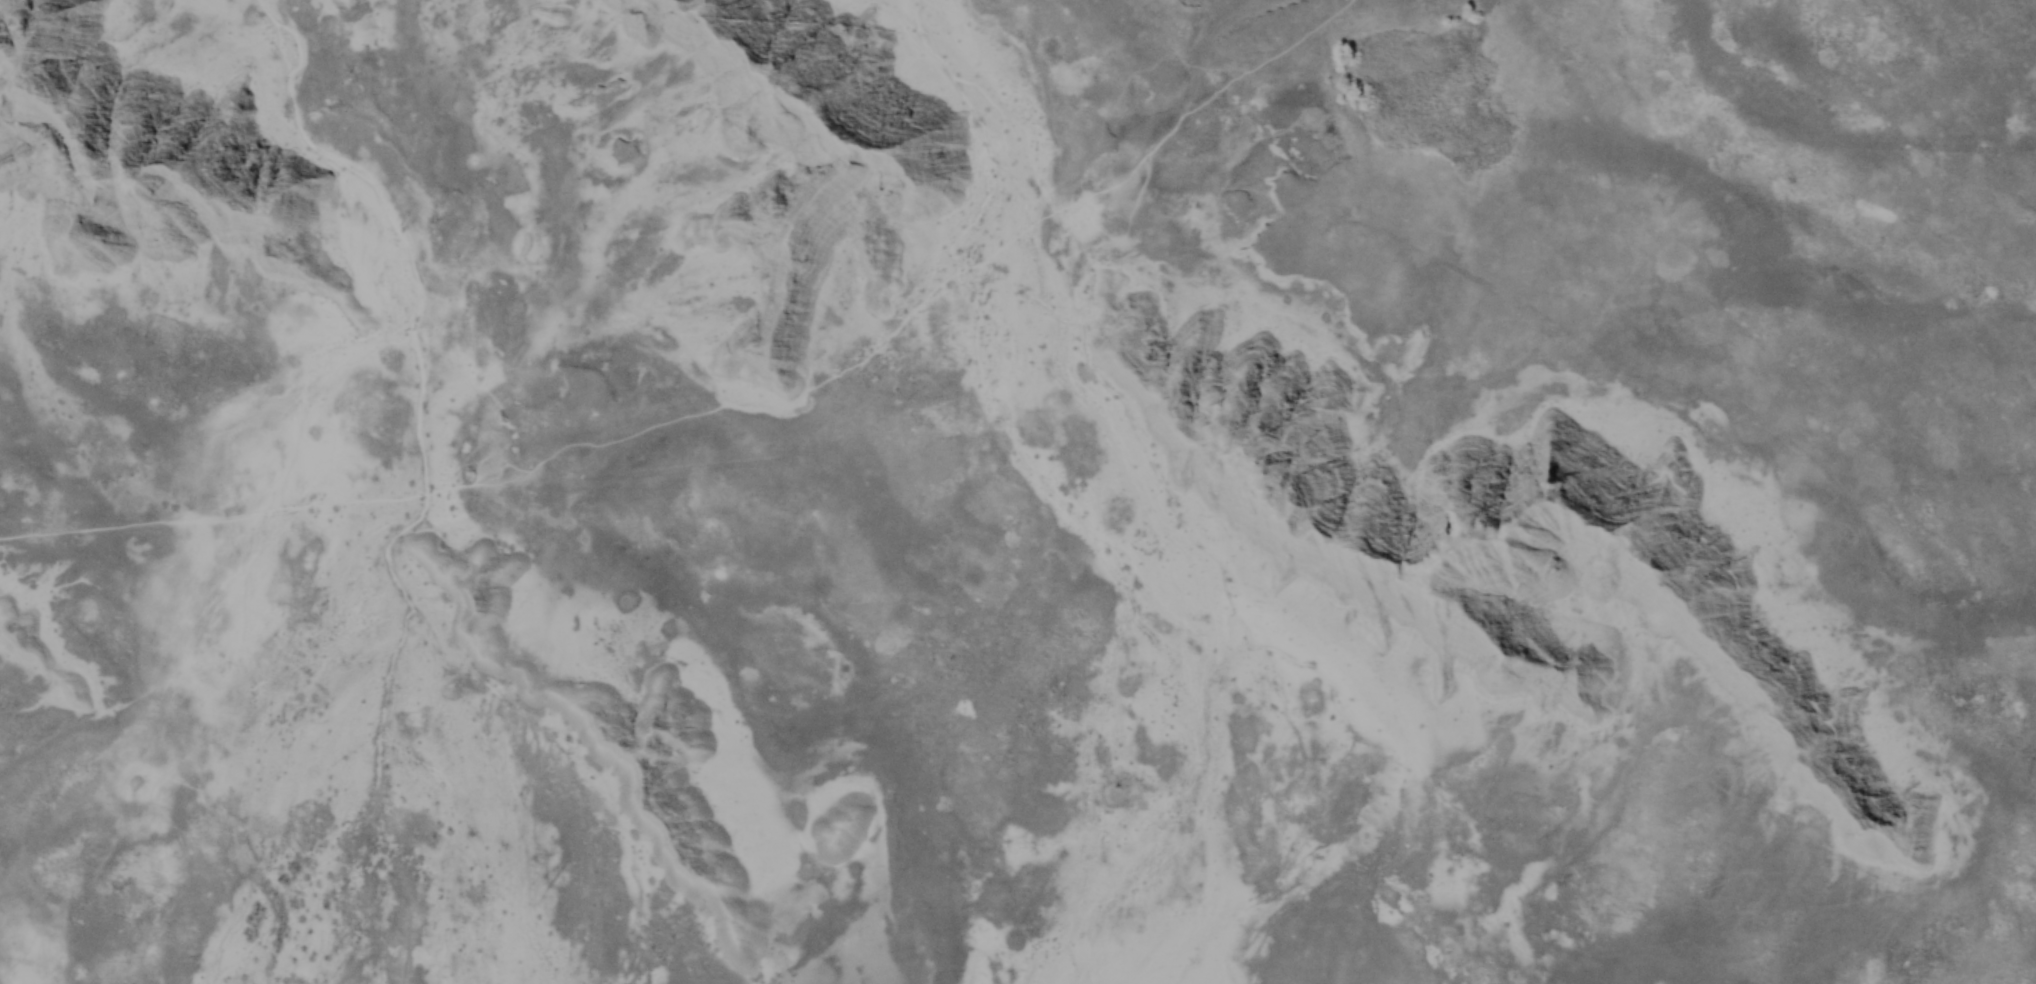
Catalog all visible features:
road: (2030, 679)

